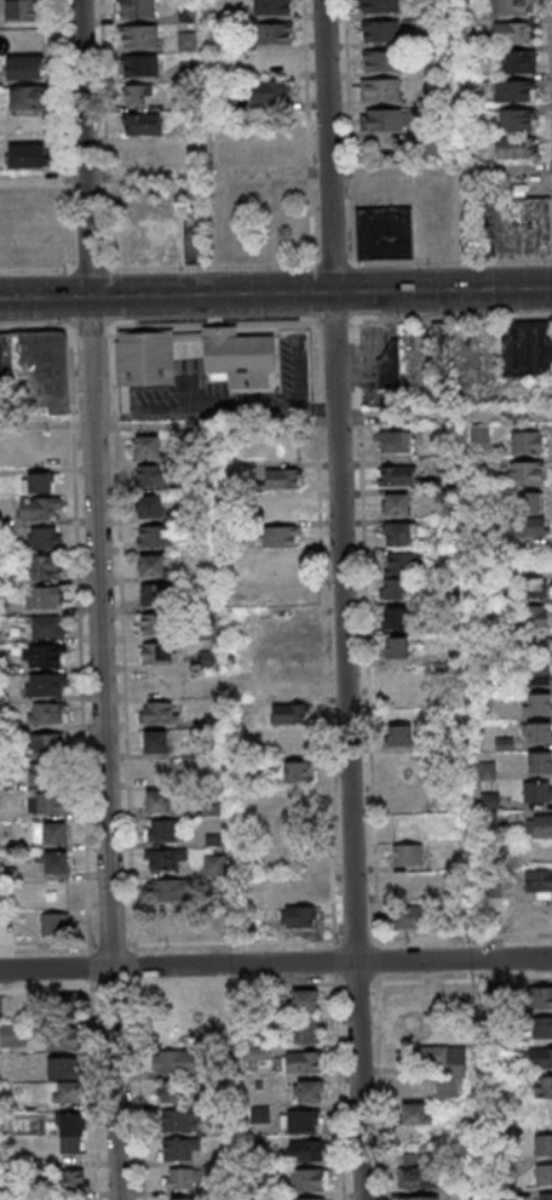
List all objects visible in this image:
building: (379, 5)
building: (271, 6)
building: (511, 6)
building: (137, 8)
building: (23, 10)
building: (380, 30)
building: (513, 32)
building: (274, 33)
building: (138, 35)
building: (186, 41)
building: (380, 61)
building: (516, 61)
building: (139, 64)
building: (25, 67)
building: (380, 88)
building: (516, 90)
building: (269, 91)
building: (136, 93)
building: (28, 97)
building: (380, 119)
building: (517, 119)
building: (143, 125)
building: (435, 144)
building: (516, 147)
building: (270, 150)
building: (27, 155)
building: (142, 155)
road: (276, 177)
building: (521, 227)
building: (386, 234)
building: (161, 241)
road: (275, 293)
building: (527, 348)
building: (441, 355)
building: (238, 358)
building: (144, 360)
building: (390, 366)
building: (38, 367)
road: (217, 411)
road: (444, 417)
road: (168, 424)
building: (479, 436)
building: (396, 441)
building: (527, 444)
building: (146, 446)
building: (153, 475)
building: (395, 475)
building: (525, 475)
building: (282, 479)
building: (36, 482)
building: (396, 504)
building: (528, 504)
building: (149, 507)
building: (38, 508)
building: (535, 528)
building: (398, 535)
building: (281, 536)
building: (42, 537)
building: (155, 537)
building: (403, 564)
building: (151, 566)
building: (40, 567)
building: (531, 587)
building: (395, 589)
building: (154, 595)
building: (42, 596)
road: (102, 599)
road: (346, 599)
building: (533, 617)
building: (395, 618)
building: (151, 624)
building: (47, 625)
building: (396, 647)
building: (156, 652)
building: (45, 656)
building: (535, 674)
building: (397, 676)
building: (46, 685)
building: (537, 703)
building: (161, 712)
building: (291, 713)
building: (47, 714)
building: (403, 732)
building: (536, 732)
building: (155, 742)
building: (288, 742)
building: (46, 744)
building: (539, 761)
building: (157, 771)
building: (297, 771)
building: (46, 775)
building: (537, 792)
building: (157, 801)
building: (47, 804)
building: (288, 804)
building: (539, 825)
building: (162, 832)
building: (54, 834)
building: (407, 855)
building: (166, 861)
building: (53, 862)
building: (213, 867)
building: (537, 882)
building: (295, 890)
building: (168, 891)
building: (298, 918)
building: (412, 918)
building: (54, 924)
road: (275, 964)
building: (539, 998)
building: (305, 1000)
building: (409, 1001)
building: (539, 1025)
building: (414, 1027)
building: (306, 1032)
building: (13, 1038)
building: (59, 1039)
building: (540, 1057)
building: (304, 1061)
building: (176, 1063)
building: (64, 1069)
building: (450, 1073)
building: (544, 1086)
building: (309, 1091)
building: (171, 1092)
building: (69, 1093)
building: (415, 1114)
building: (178, 1120)
building: (301, 1121)
building: (69, 1135)
building: (544, 1145)
building: (178, 1149)
building: (305, 1150)
building: (416, 1172)
building: (544, 1176)
building: (182, 1178)
building: (309, 1179)
building: (69, 1184)
building: (545, 1196)
building: (180, 1198)
building: (420, 1198)
building: (307, 1199)

